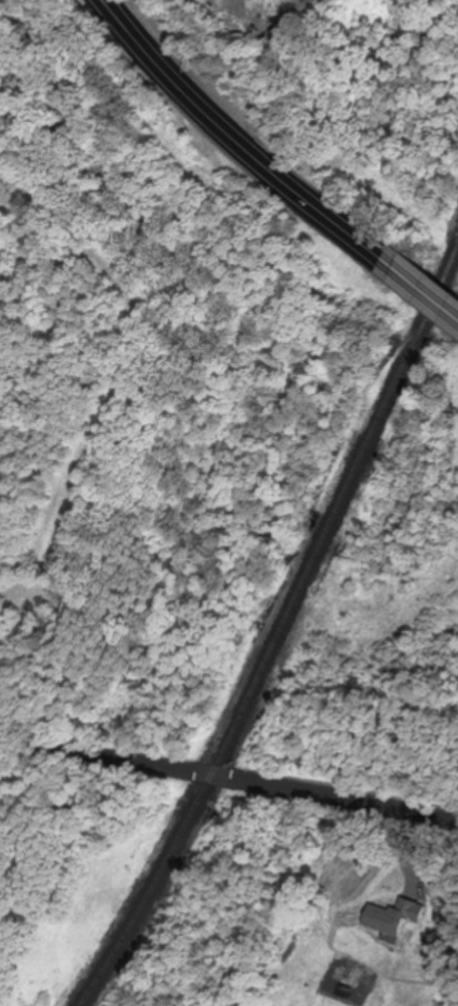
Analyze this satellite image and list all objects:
road: (234, 138)
road: (423, 281)
railway: (280, 633)
road: (228, 778)

